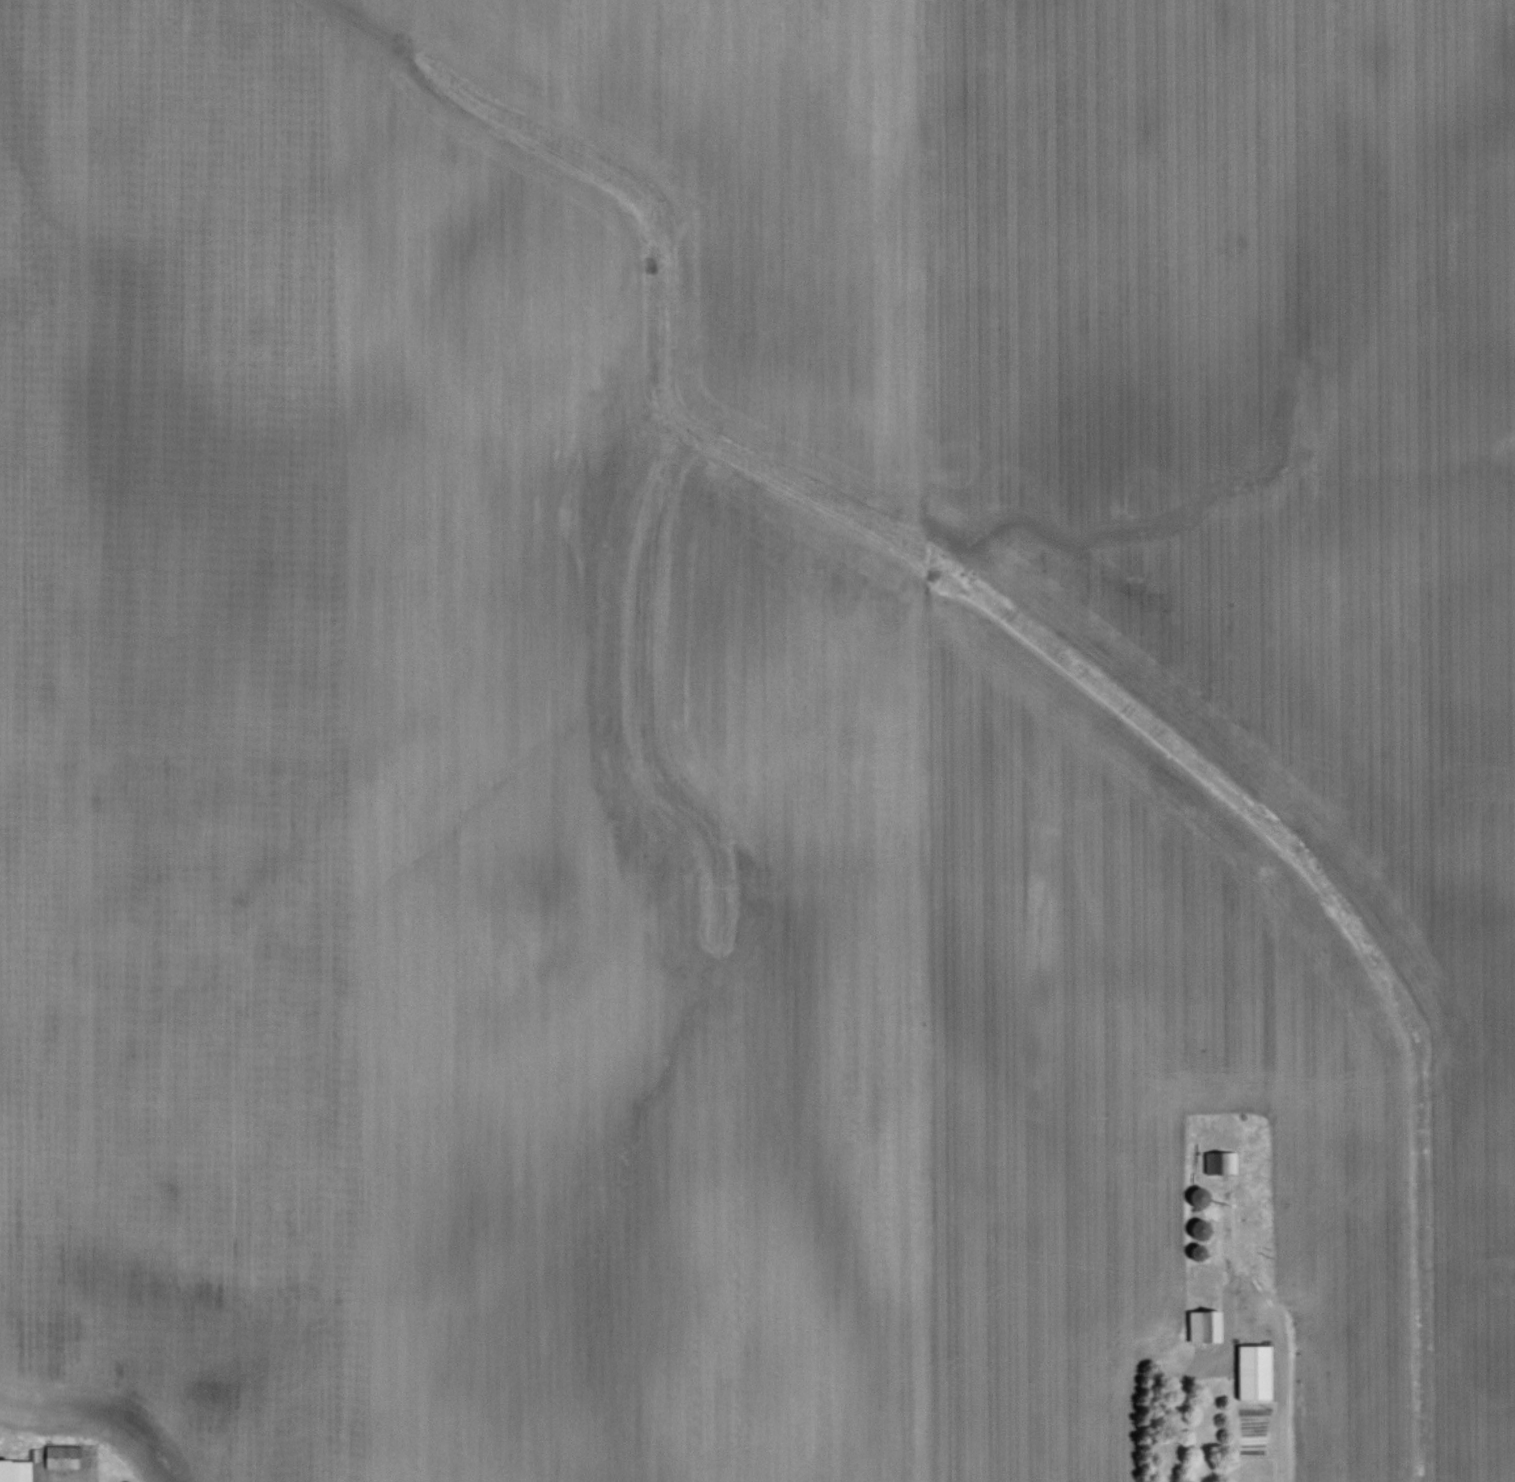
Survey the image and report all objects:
building: (1217, 1162)
building: (1201, 1326)
road: (1239, 1328)
building: (1251, 1371)
building: (59, 1456)
building: (13, 1470)

